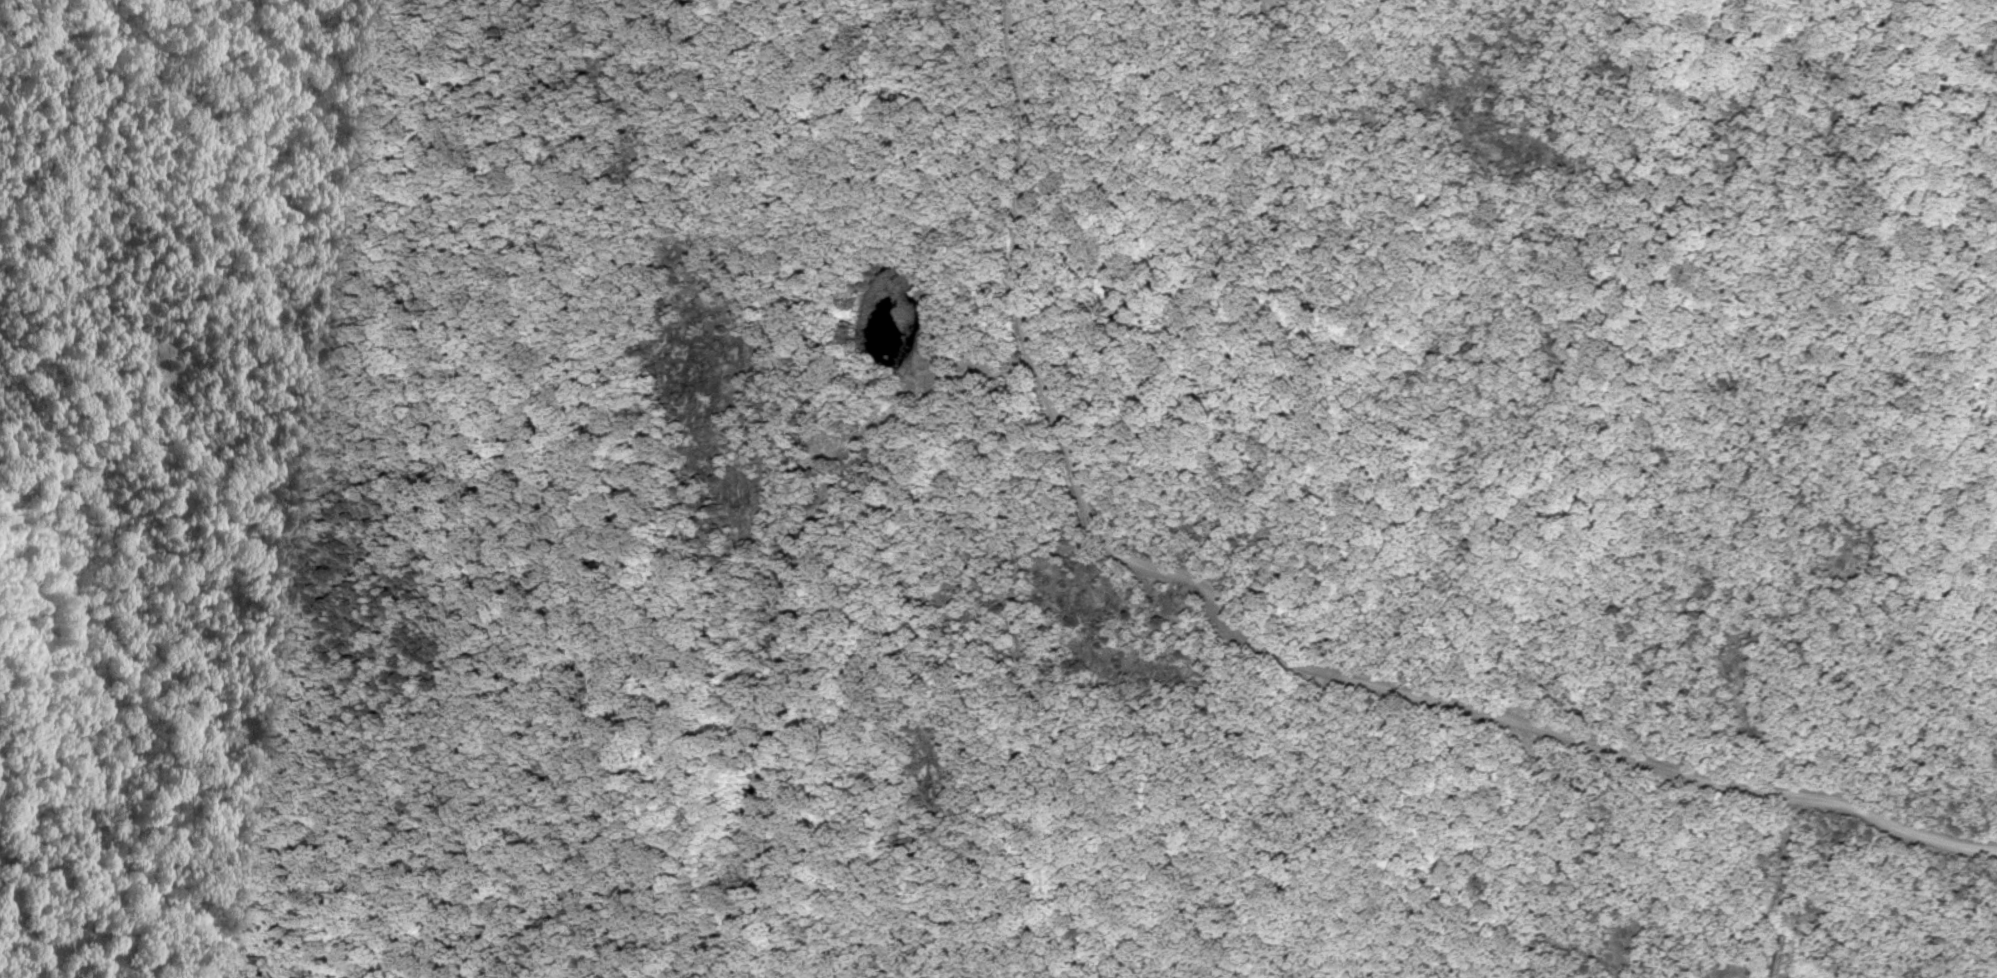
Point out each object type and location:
building: (1779, 957)

